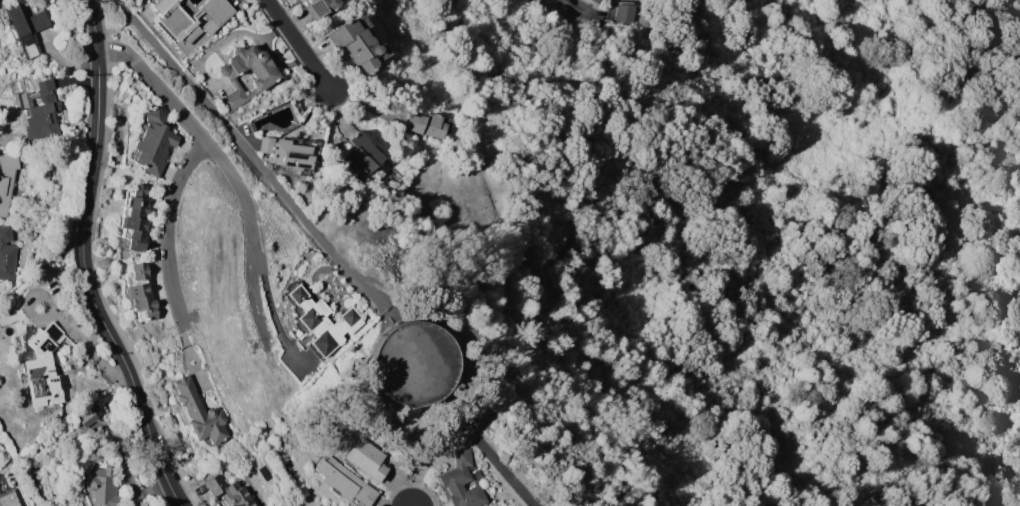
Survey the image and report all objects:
building: (595, 1)
building: (318, 7)
road: (582, 7)
building: (623, 13)
building: (215, 14)
building: (175, 20)
building: (26, 22)
building: (355, 44)
road: (305, 45)
building: (266, 78)
building: (40, 110)
building: (428, 124)
building: (250, 127)
building: (153, 142)
building: (290, 152)
road: (248, 154)
building: (363, 156)
road: (229, 172)
building: (7, 179)
building: (133, 219)
road: (166, 231)
building: (6, 254)
road: (88, 261)
building: (140, 292)
building: (319, 319)
building: (414, 363)
building: (43, 369)
building: (104, 399)
building: (198, 413)
building: (89, 415)
road: (467, 428)
building: (366, 459)
building: (477, 475)
building: (342, 481)
building: (461, 482)
building: (103, 486)
building: (231, 492)
building: (10, 498)

